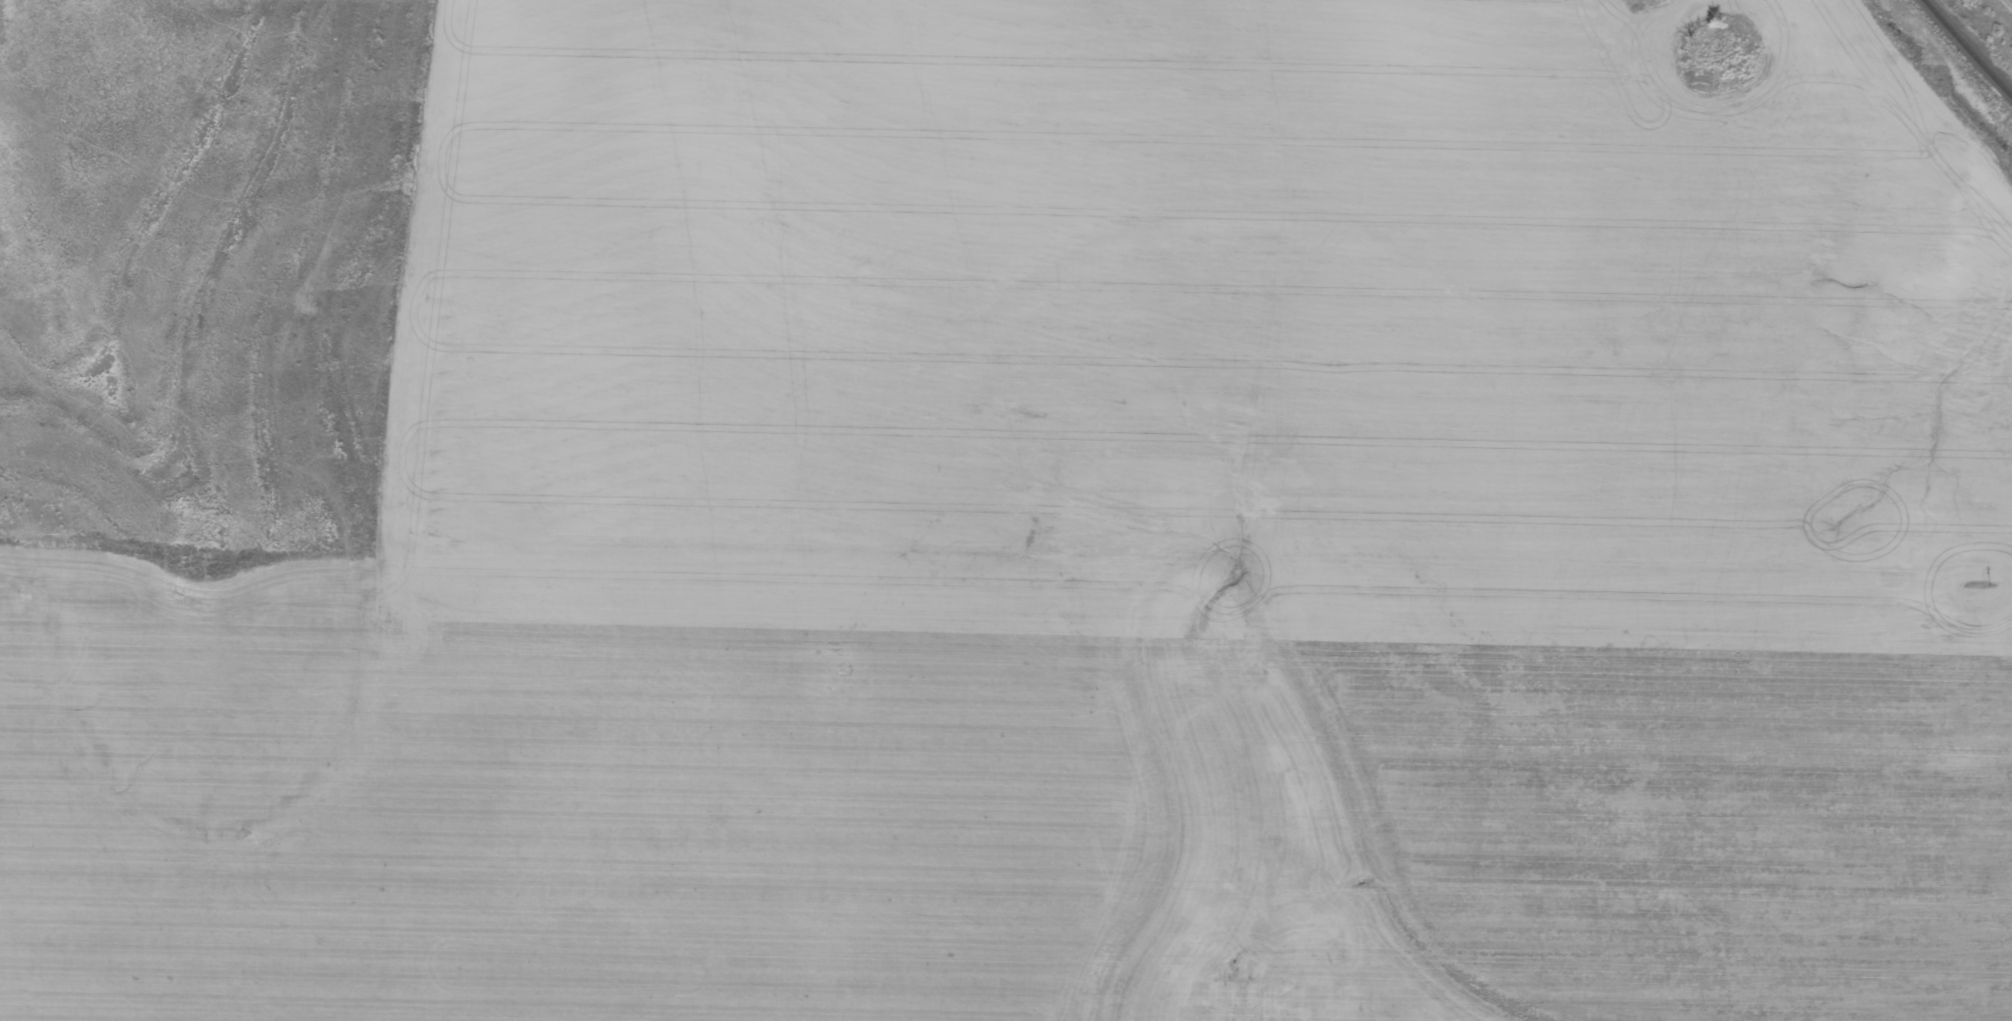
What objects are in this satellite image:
road: (2005, 6)
railway: (1967, 49)

